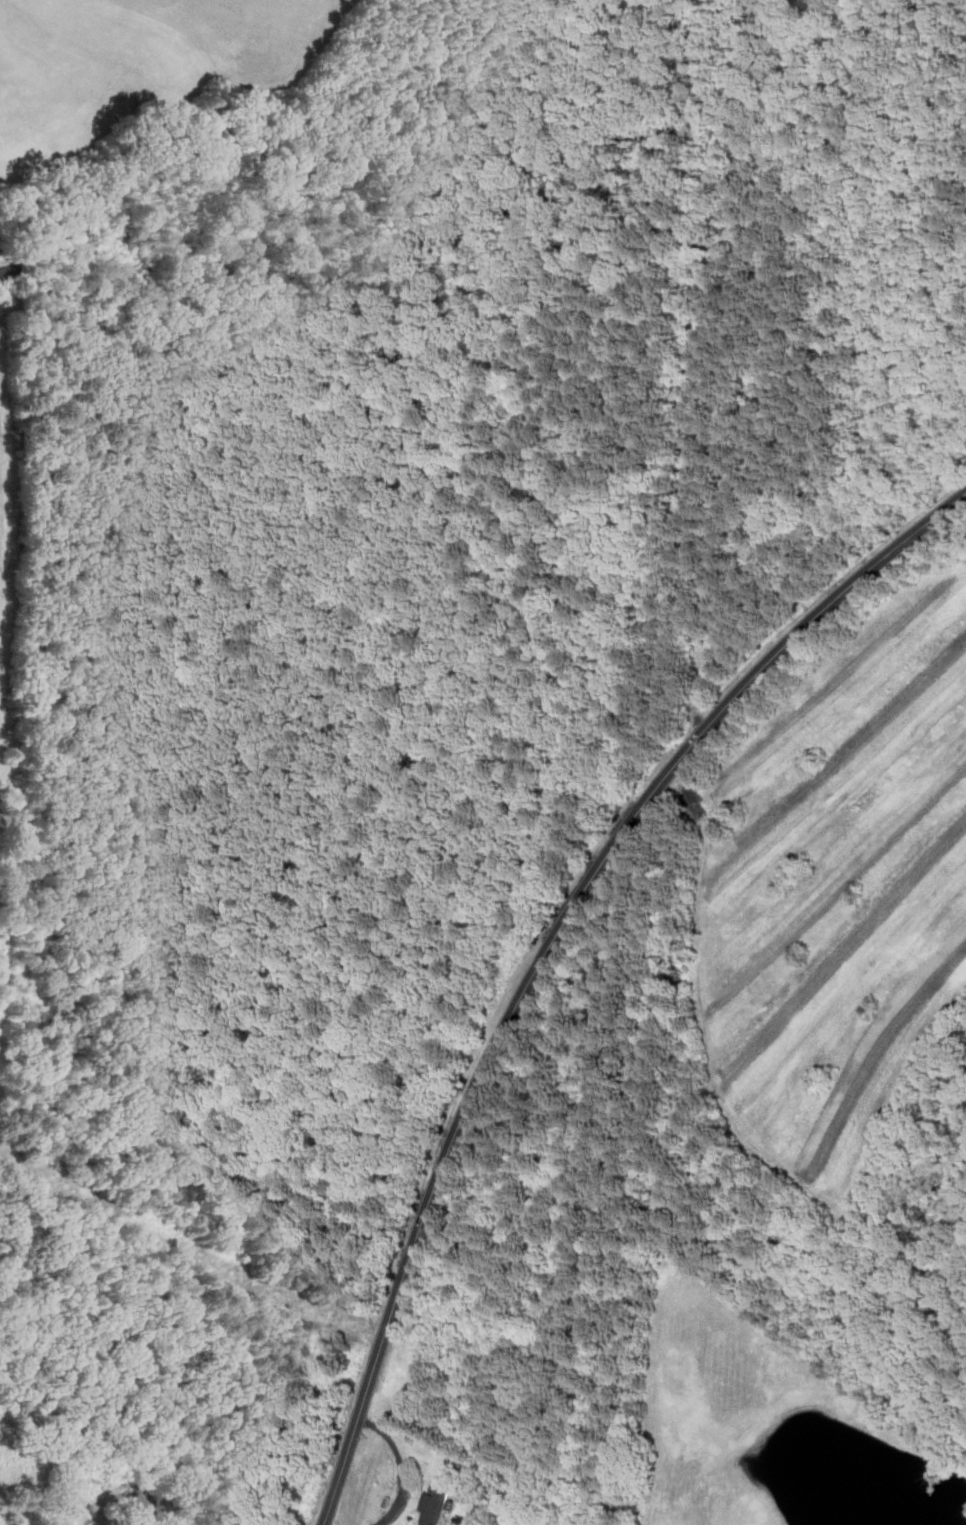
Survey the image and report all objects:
road: (688, 790)
road: (548, 947)
road: (400, 1465)
building: (436, 1504)
building: (137, 1507)

